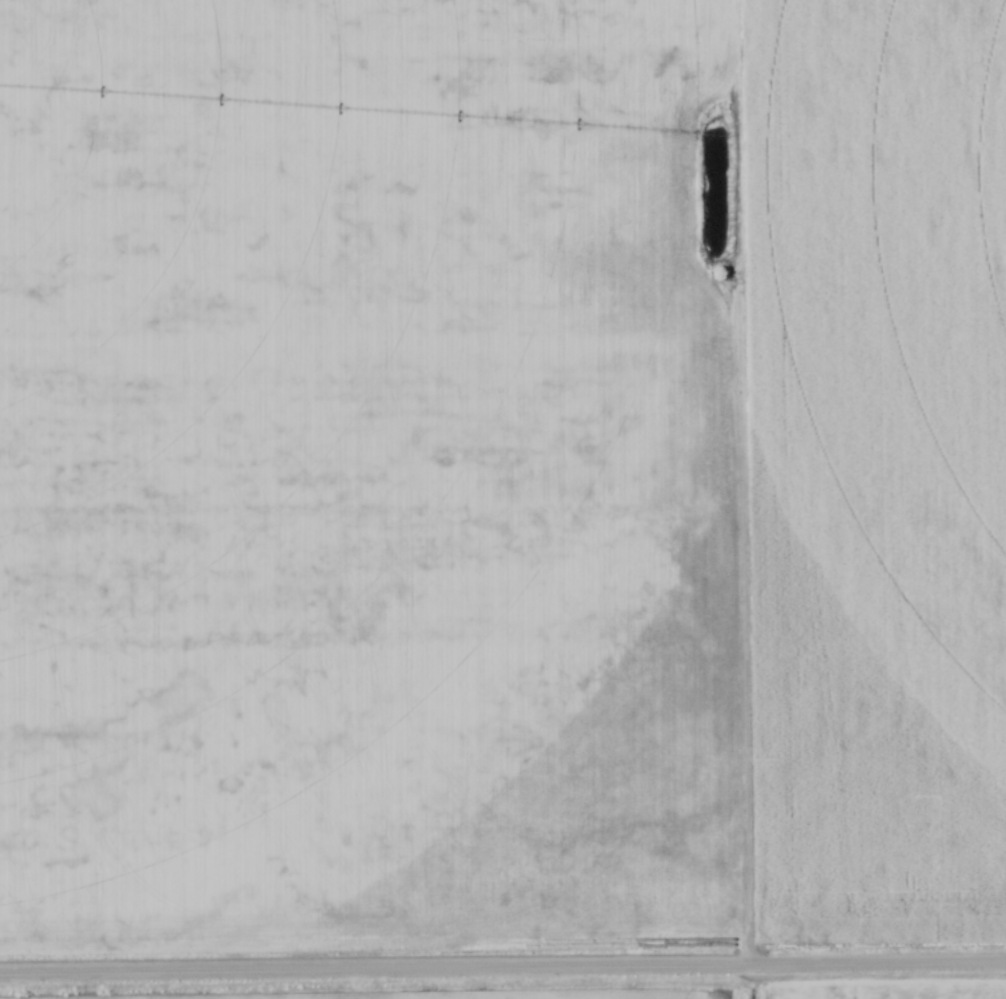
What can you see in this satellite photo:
road: (503, 971)

